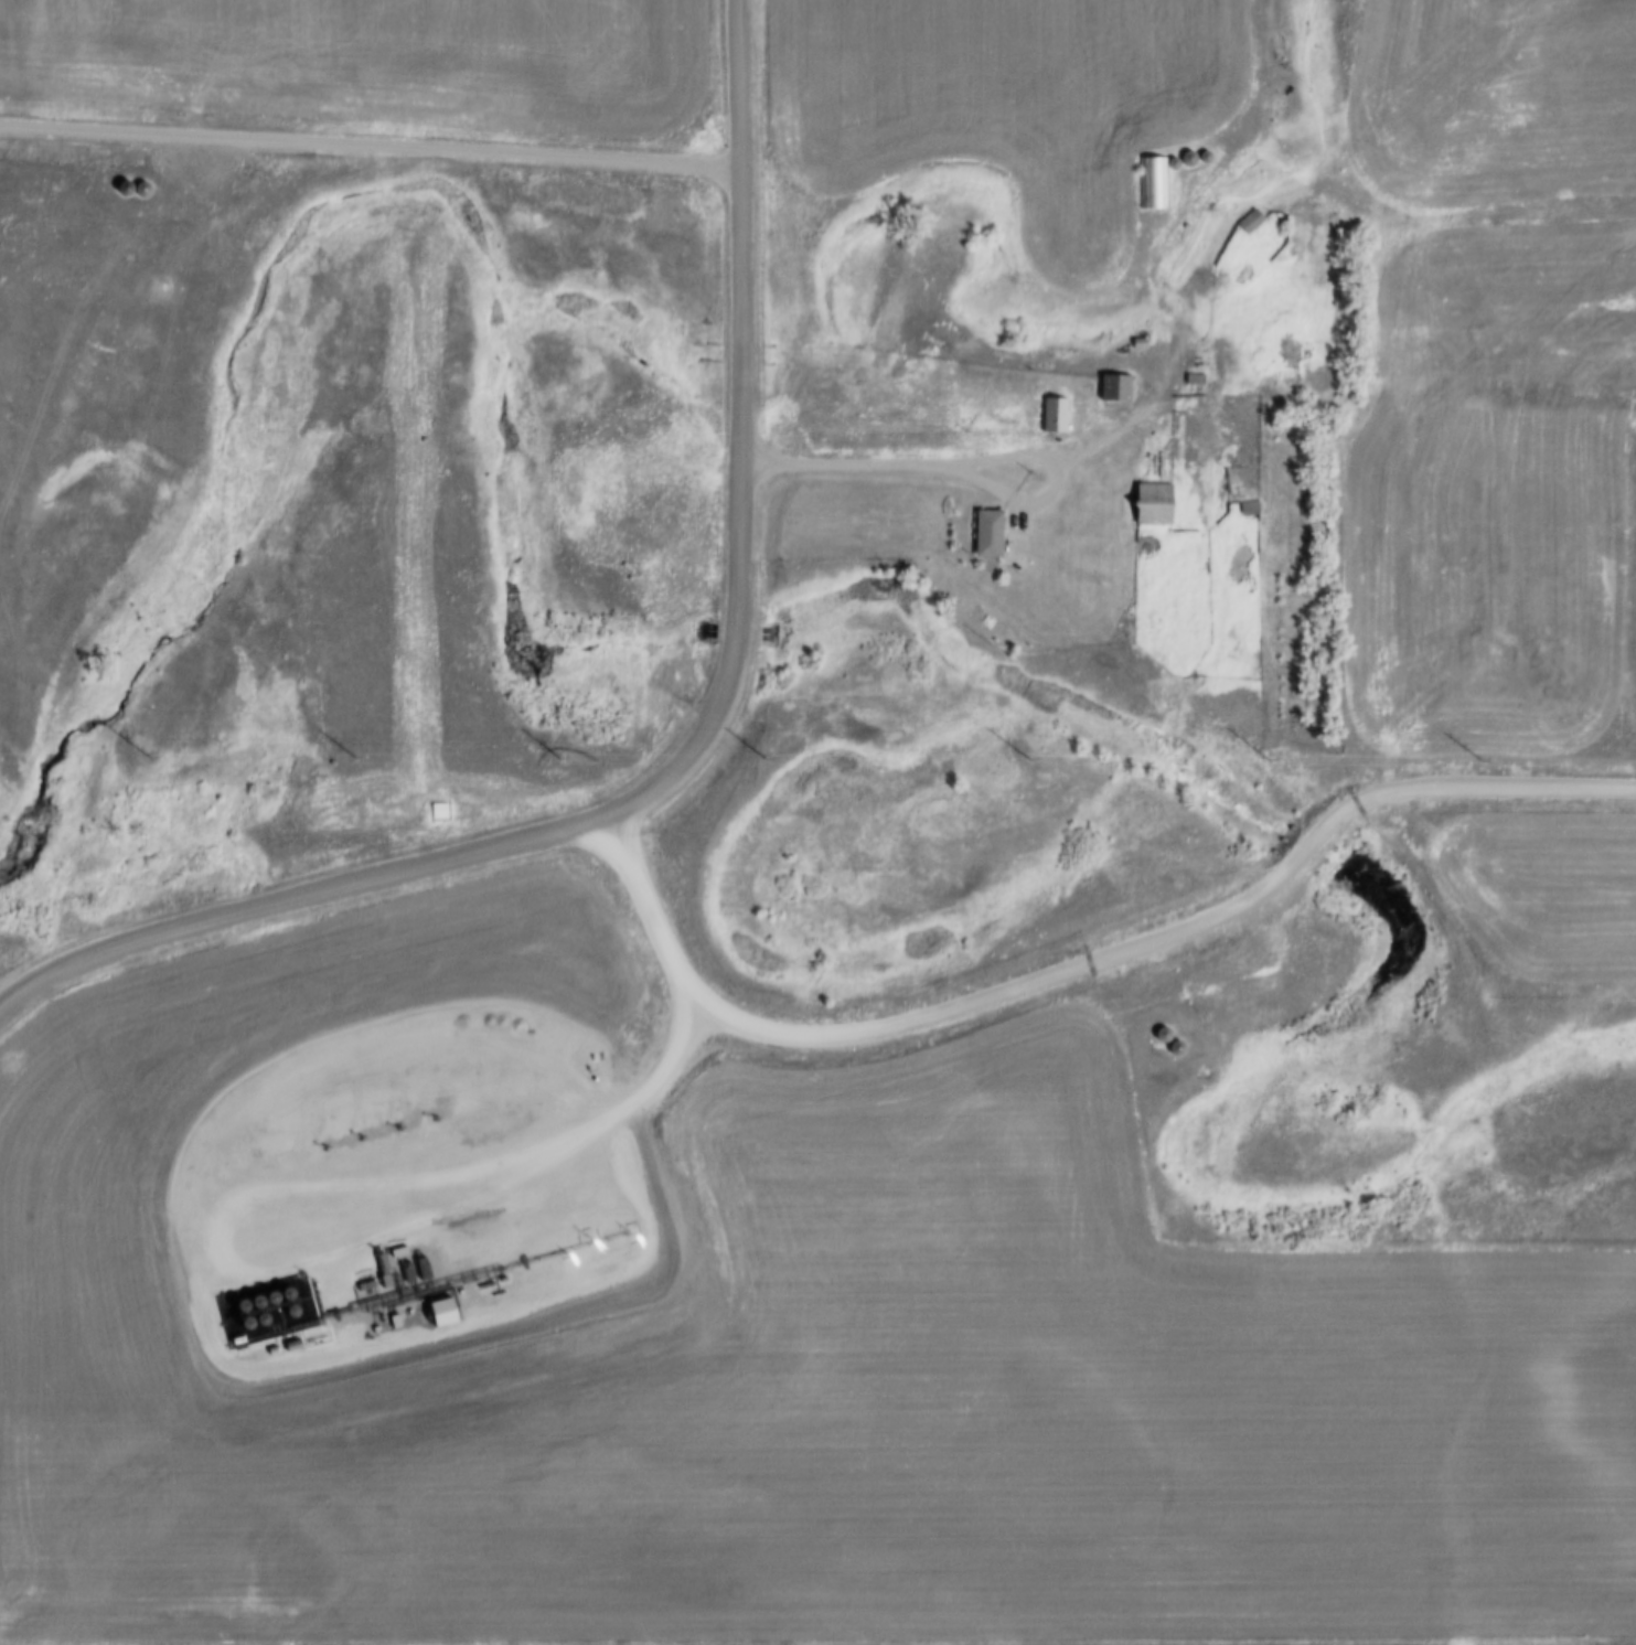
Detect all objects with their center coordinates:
road: (371, 146)
building: (1151, 182)
building: (1247, 221)
road: (1166, 249)
building: (1111, 387)
building: (1051, 415)
road: (974, 464)
building: (1147, 502)
building: (1245, 508)
building: (984, 533)
road: (698, 748)
building: (1158, 1033)
building: (1170, 1045)

